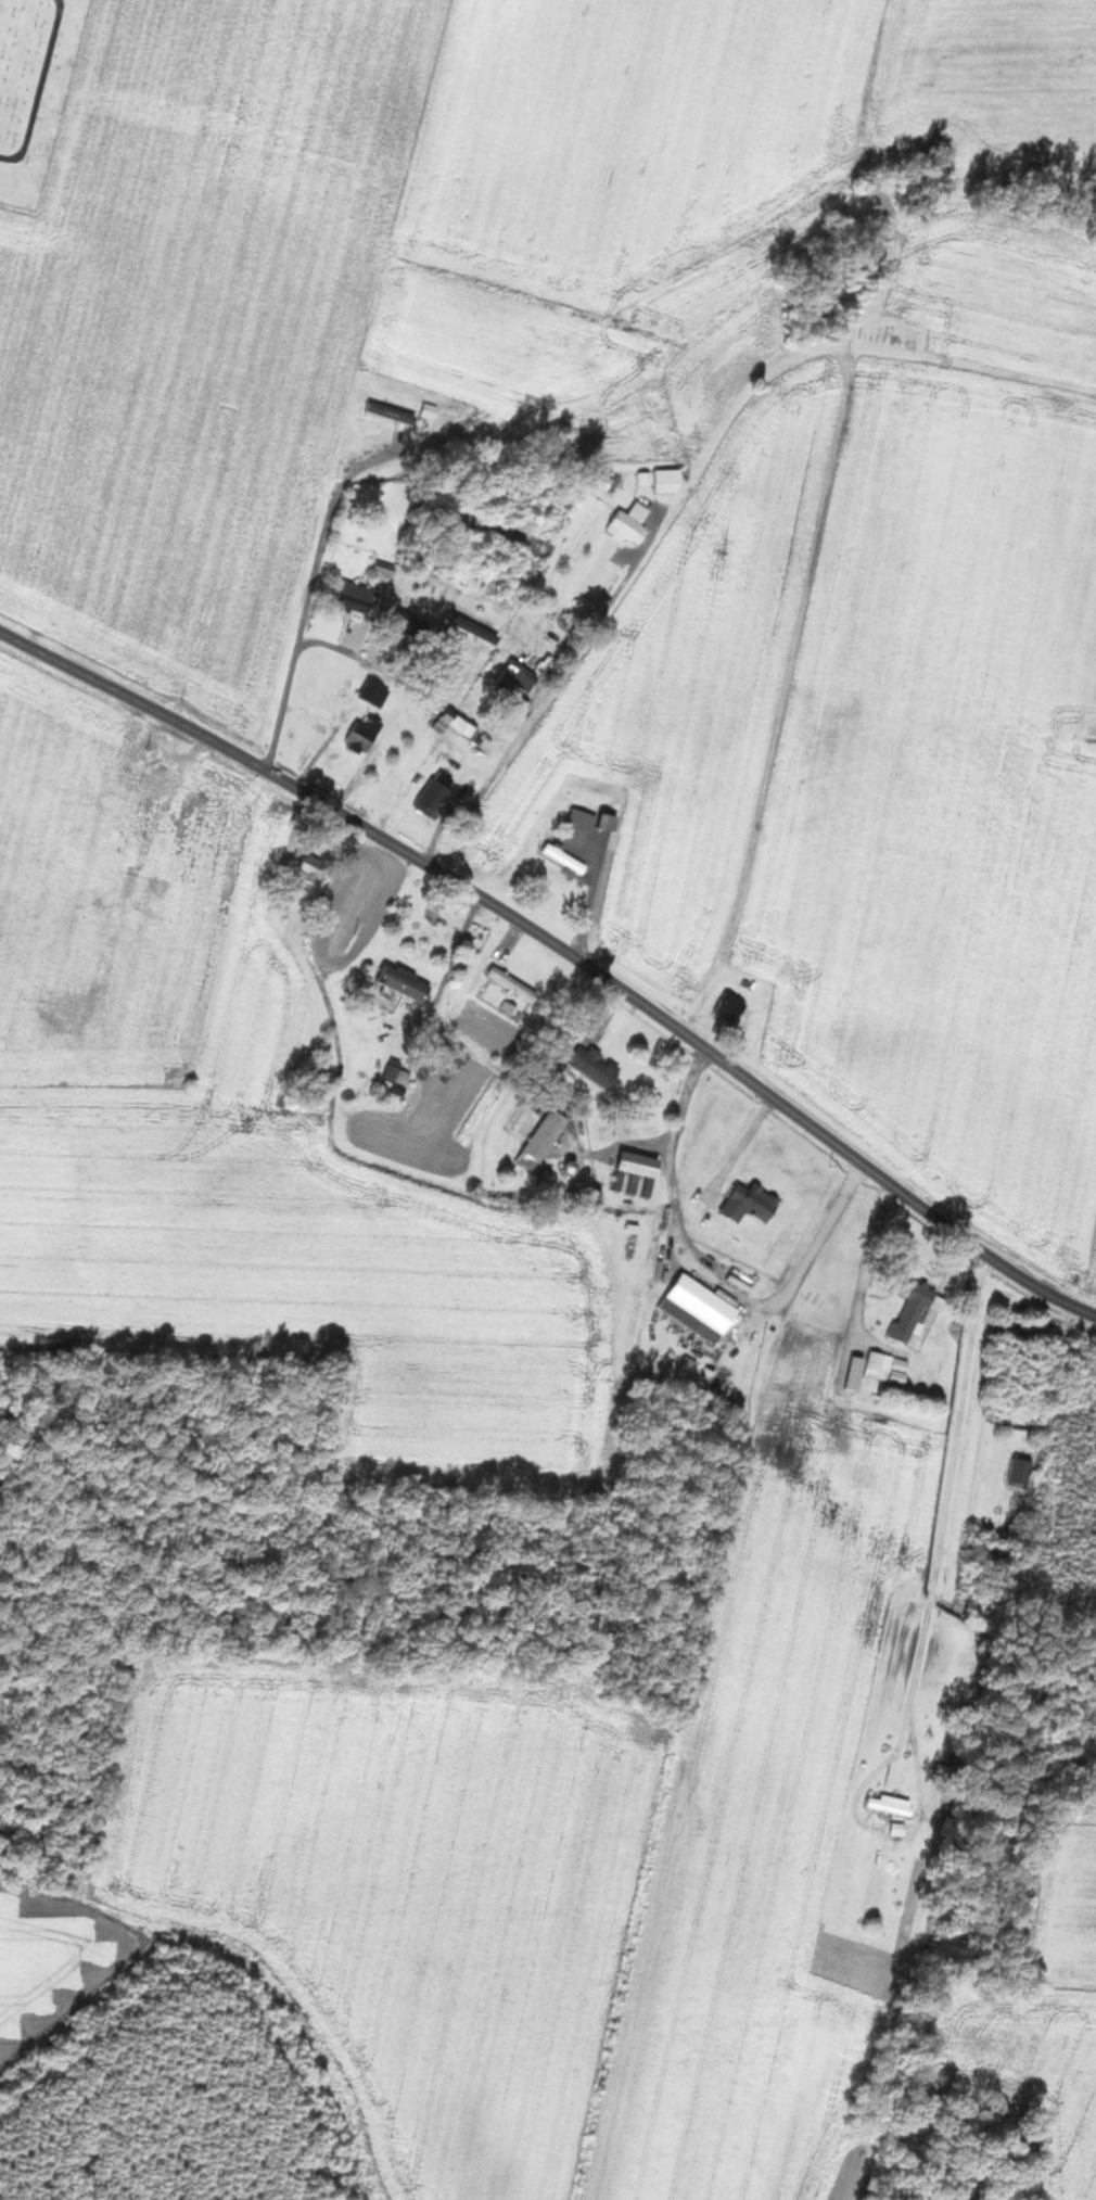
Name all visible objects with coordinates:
building: (394, 411)
building: (450, 450)
road: (353, 471)
building: (646, 478)
building: (671, 480)
building: (633, 522)
building: (360, 597)
building: (419, 627)
road: (344, 650)
building: (521, 678)
road: (551, 689)
building: (377, 691)
building: (457, 723)
building: (367, 733)
building: (437, 793)
building: (584, 819)
building: (566, 857)
building: (313, 869)
road: (563, 949)
building: (408, 982)
building: (514, 983)
building: (732, 1007)
building: (598, 1066)
building: (545, 1140)
building: (642, 1165)
building: (753, 1203)
road: (708, 1270)
building: (701, 1308)
building: (919, 1311)
building: (889, 1368)
building: (1023, 1468)
road: (954, 1491)
building: (893, 1805)

